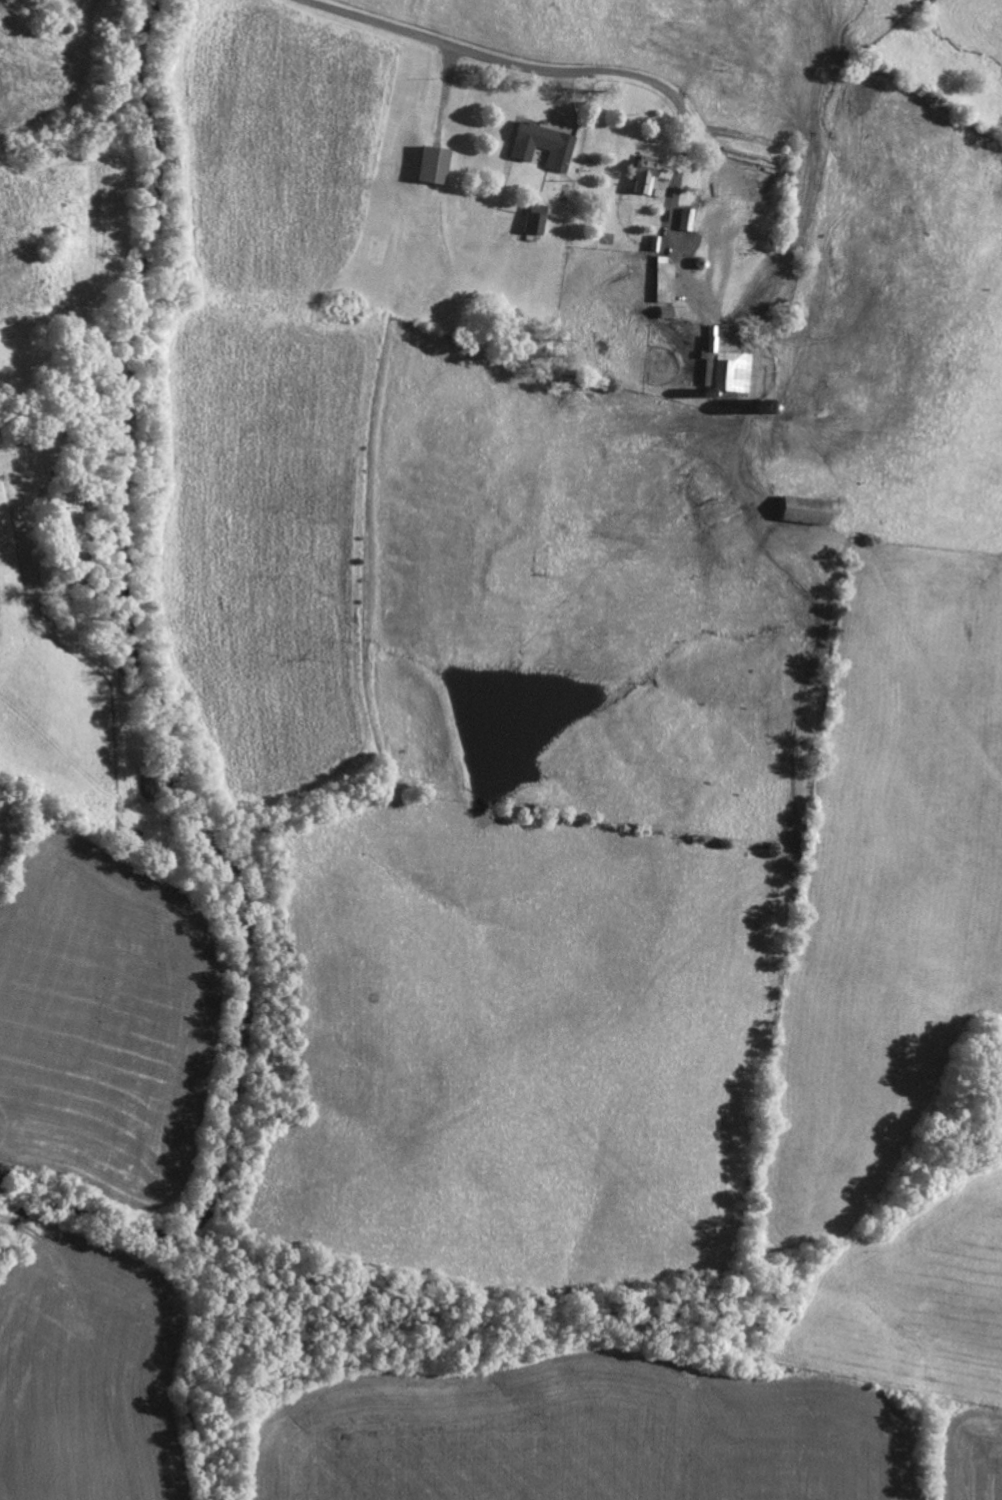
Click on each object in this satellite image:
road: (510, 64)
building: (547, 144)
building: (439, 164)
building: (649, 173)
building: (689, 218)
building: (539, 219)
road: (672, 237)
building: (668, 280)
building: (811, 510)

